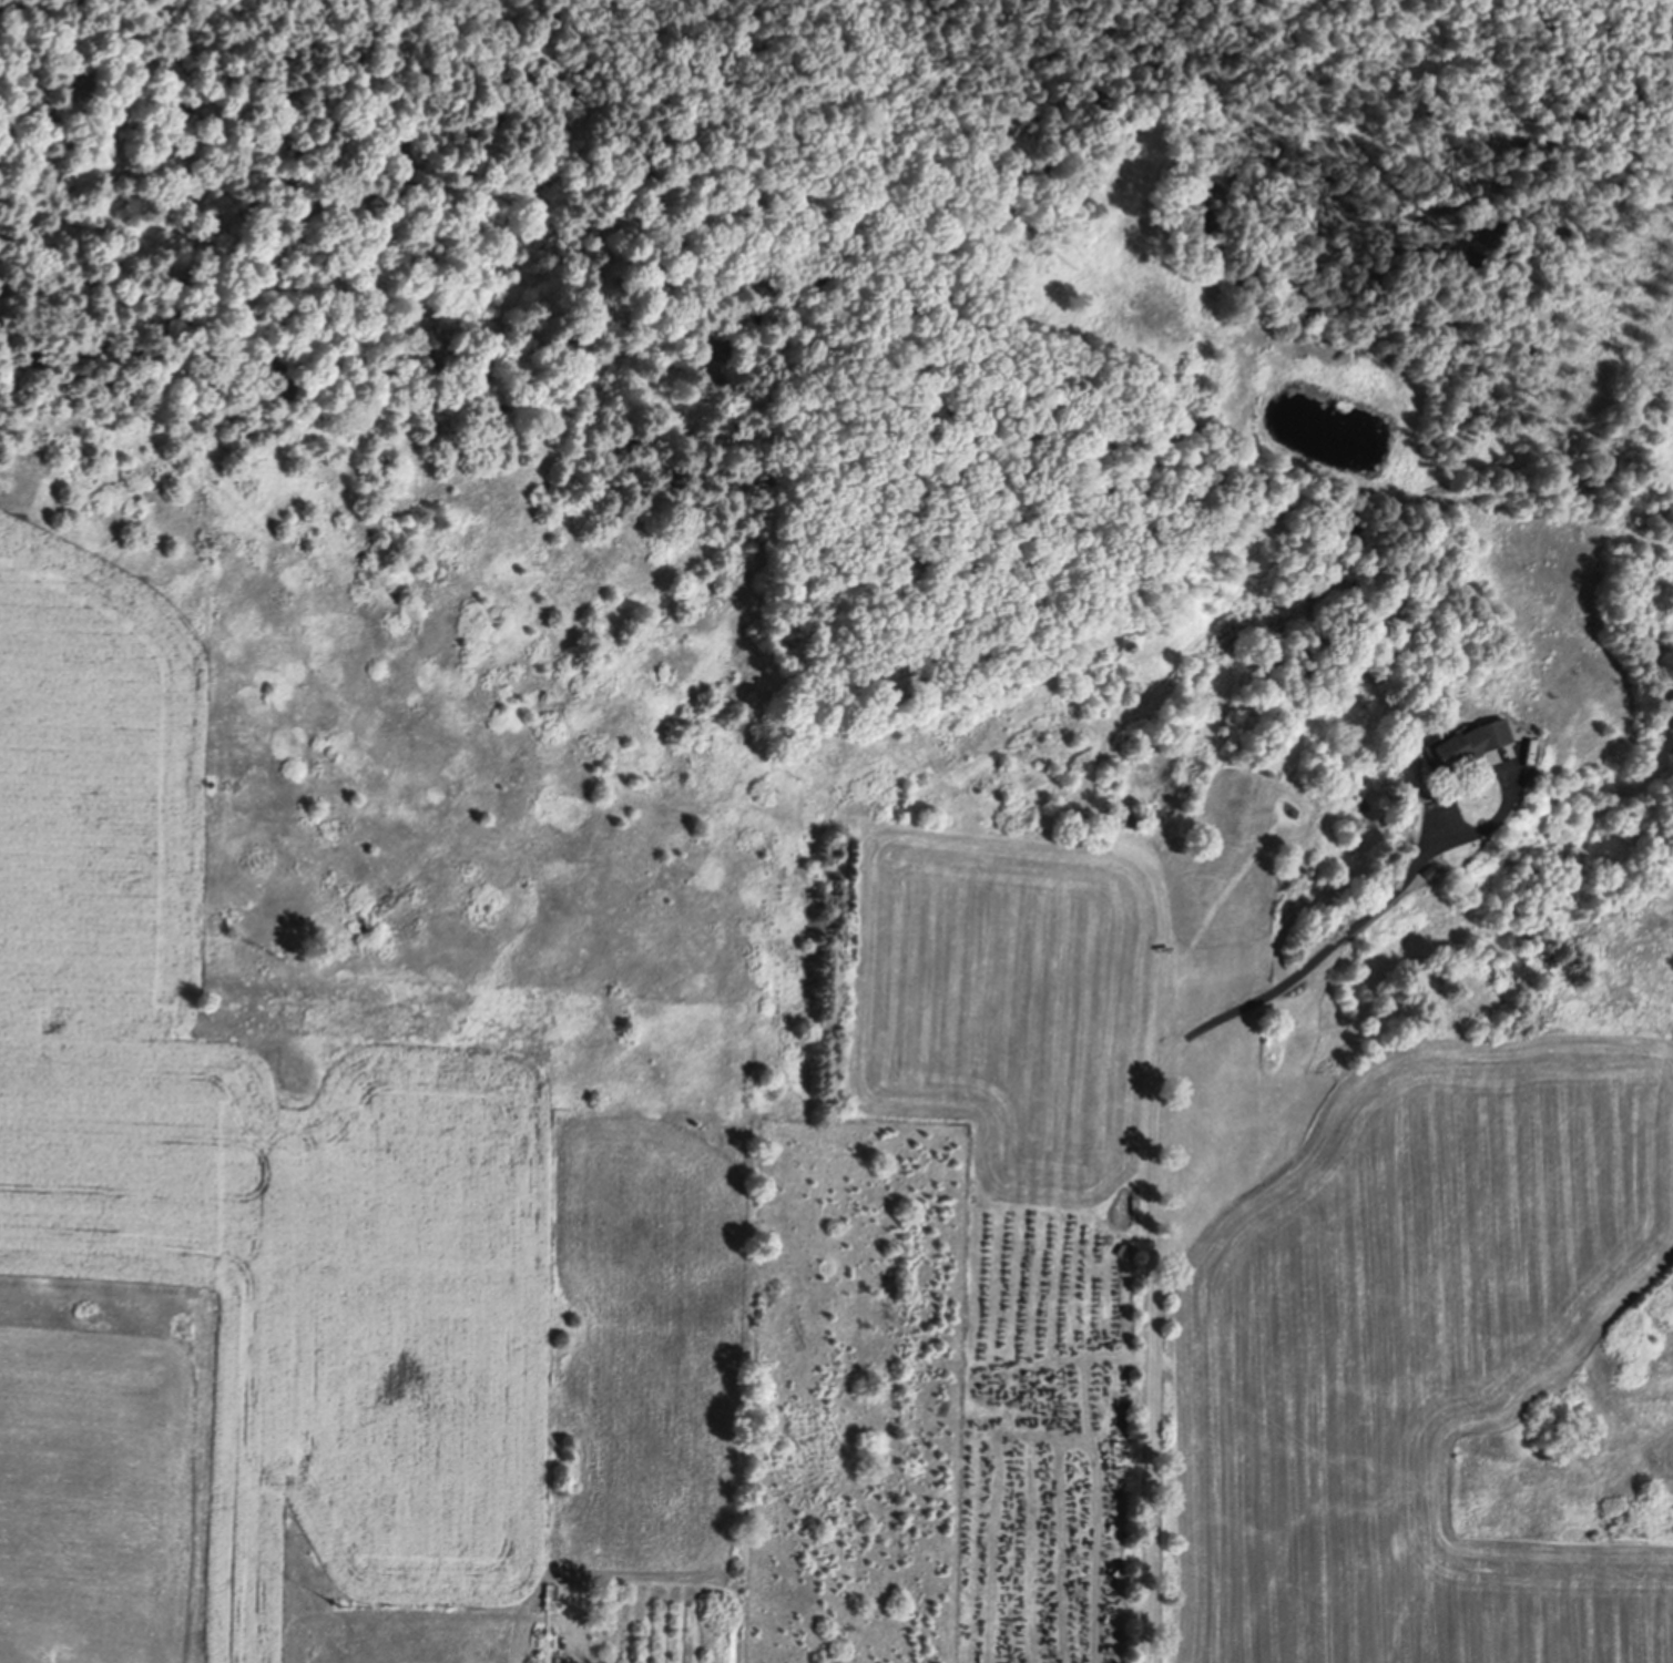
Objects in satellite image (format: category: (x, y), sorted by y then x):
building: (1463, 742)
building: (1431, 870)
road: (1157, 1201)
building: (552, 1594)

